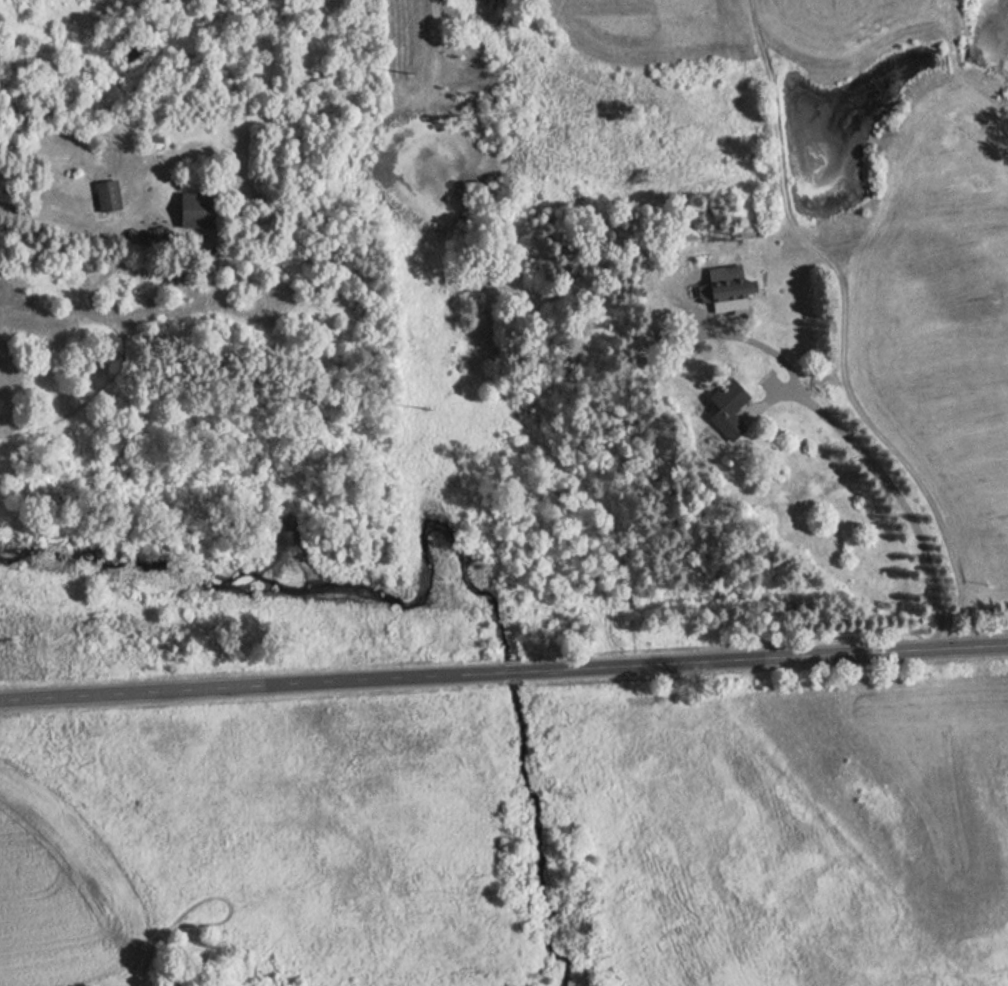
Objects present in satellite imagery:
power tower: (412, 74)
building: (104, 193)
building: (191, 210)
road: (49, 218)
power tower: (426, 424)
road: (872, 464)
road: (915, 477)
road: (503, 670)

